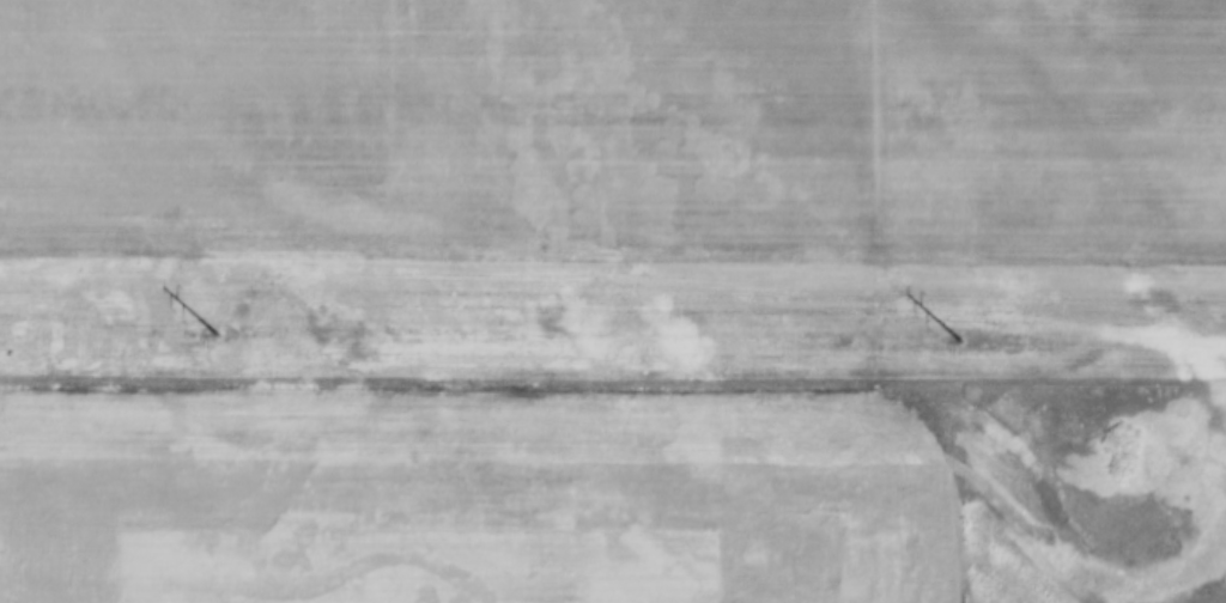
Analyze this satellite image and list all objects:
power tower: (216, 334)
power tower: (961, 339)

